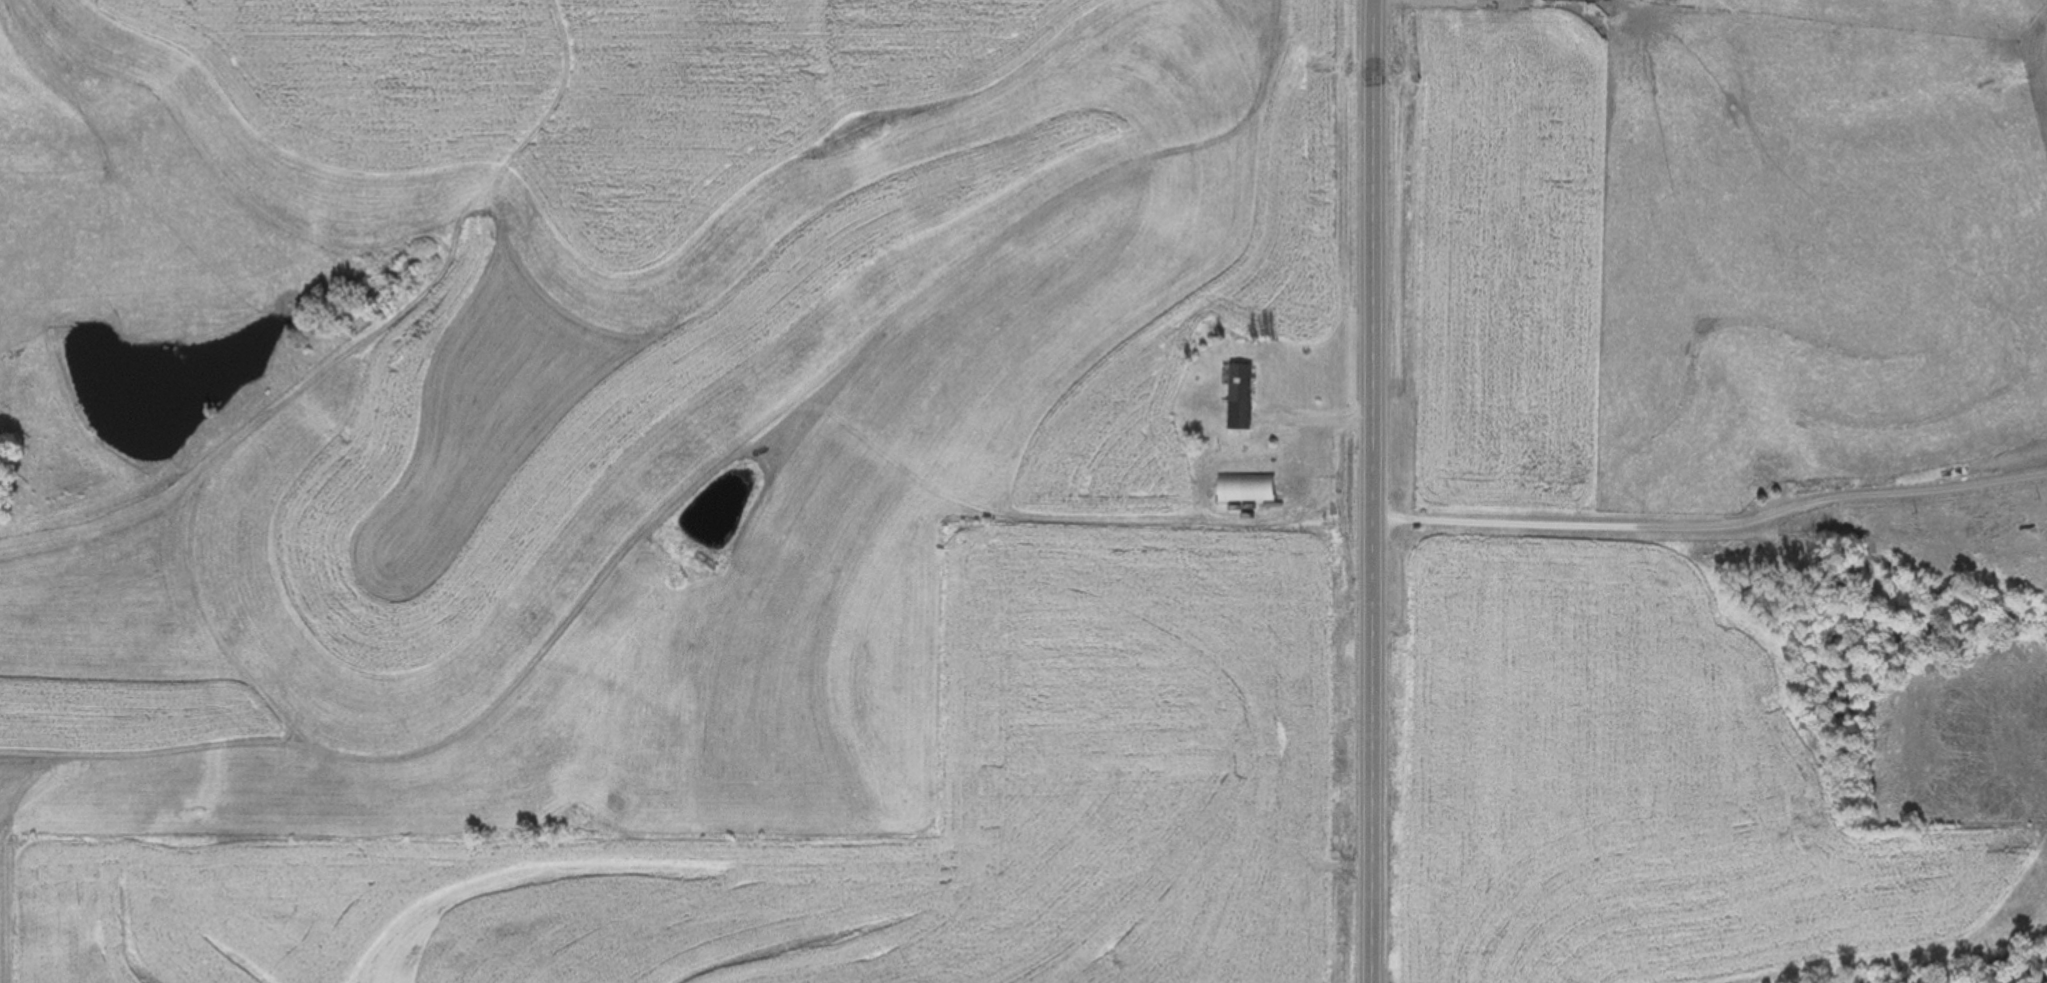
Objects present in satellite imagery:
building: (1563, 2)
building: (1237, 399)
road: (1317, 420)
road: (1373, 491)
road: (1713, 530)

